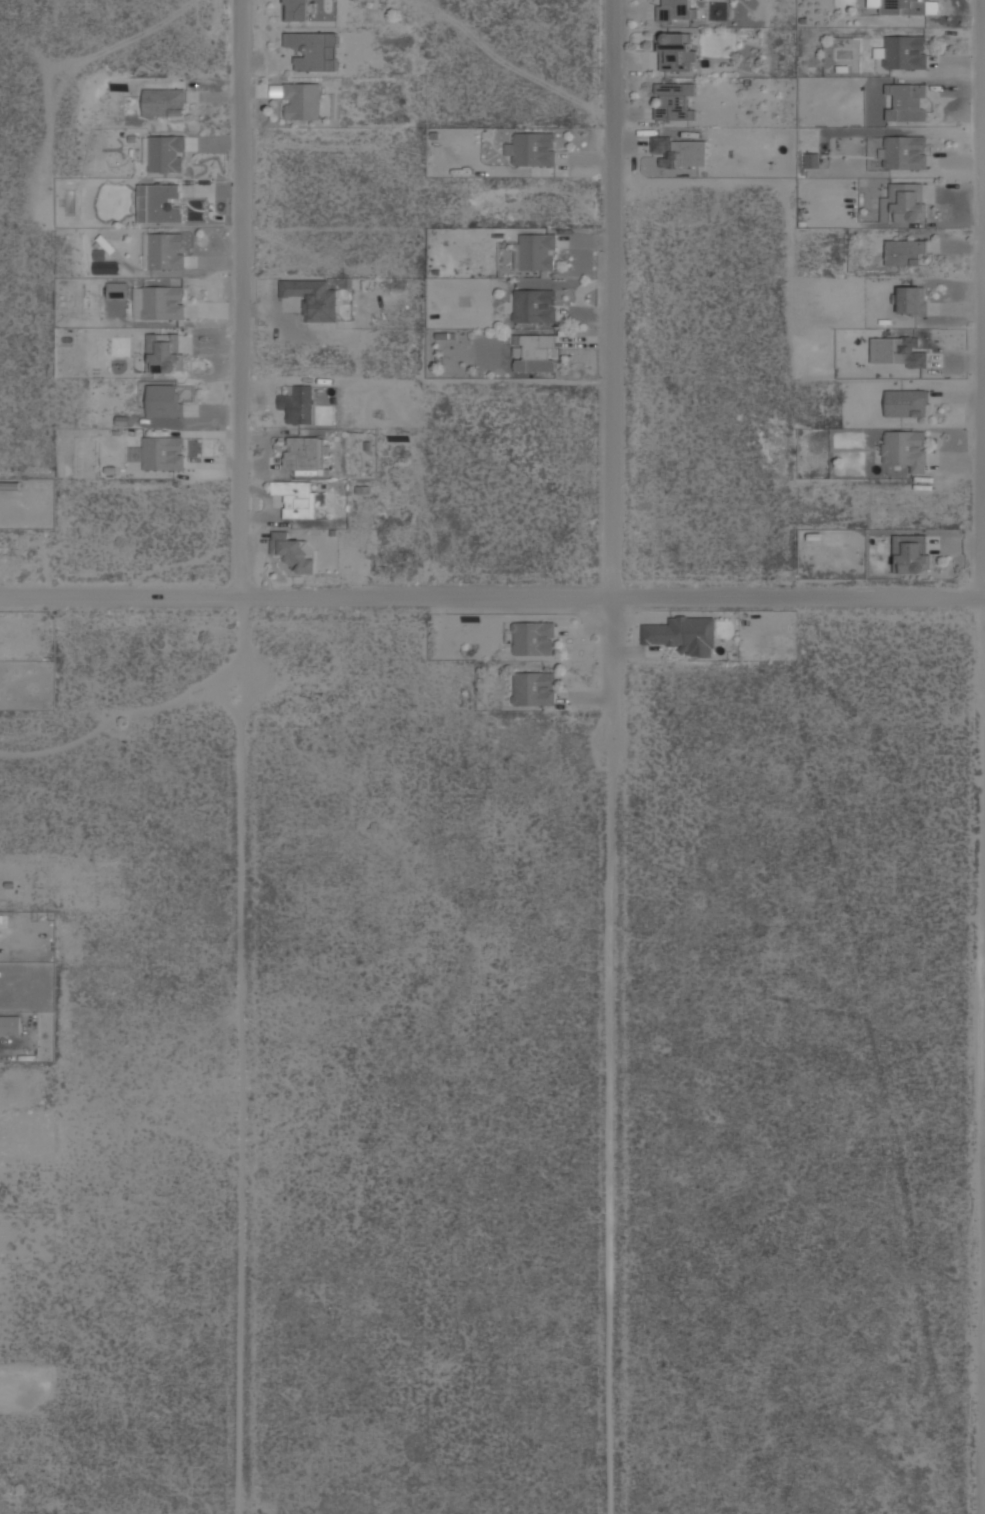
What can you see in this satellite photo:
building: (902, 7)
building: (297, 10)
building: (676, 10)
building: (313, 50)
building: (676, 51)
building: (903, 51)
building: (302, 100)
building: (673, 100)
building: (164, 101)
building: (907, 102)
building: (532, 148)
building: (905, 152)
building: (166, 153)
building: (812, 160)
building: (908, 201)
building: (160, 203)
building: (164, 251)
building: (535, 251)
building: (905, 252)
building: (106, 267)
building: (117, 290)
building: (313, 298)
building: (913, 300)
building: (158, 302)
building: (531, 305)
building: (166, 352)
building: (535, 353)
building: (164, 400)
building: (299, 404)
building: (906, 404)
building: (906, 449)
building: (160, 453)
building: (302, 453)
building: (295, 498)
building: (293, 550)
building: (912, 553)
road: (492, 595)
building: (683, 634)
building: (533, 640)
building: (534, 688)
road: (982, 756)
road: (241, 757)
road: (613, 757)
building: (10, 1024)

